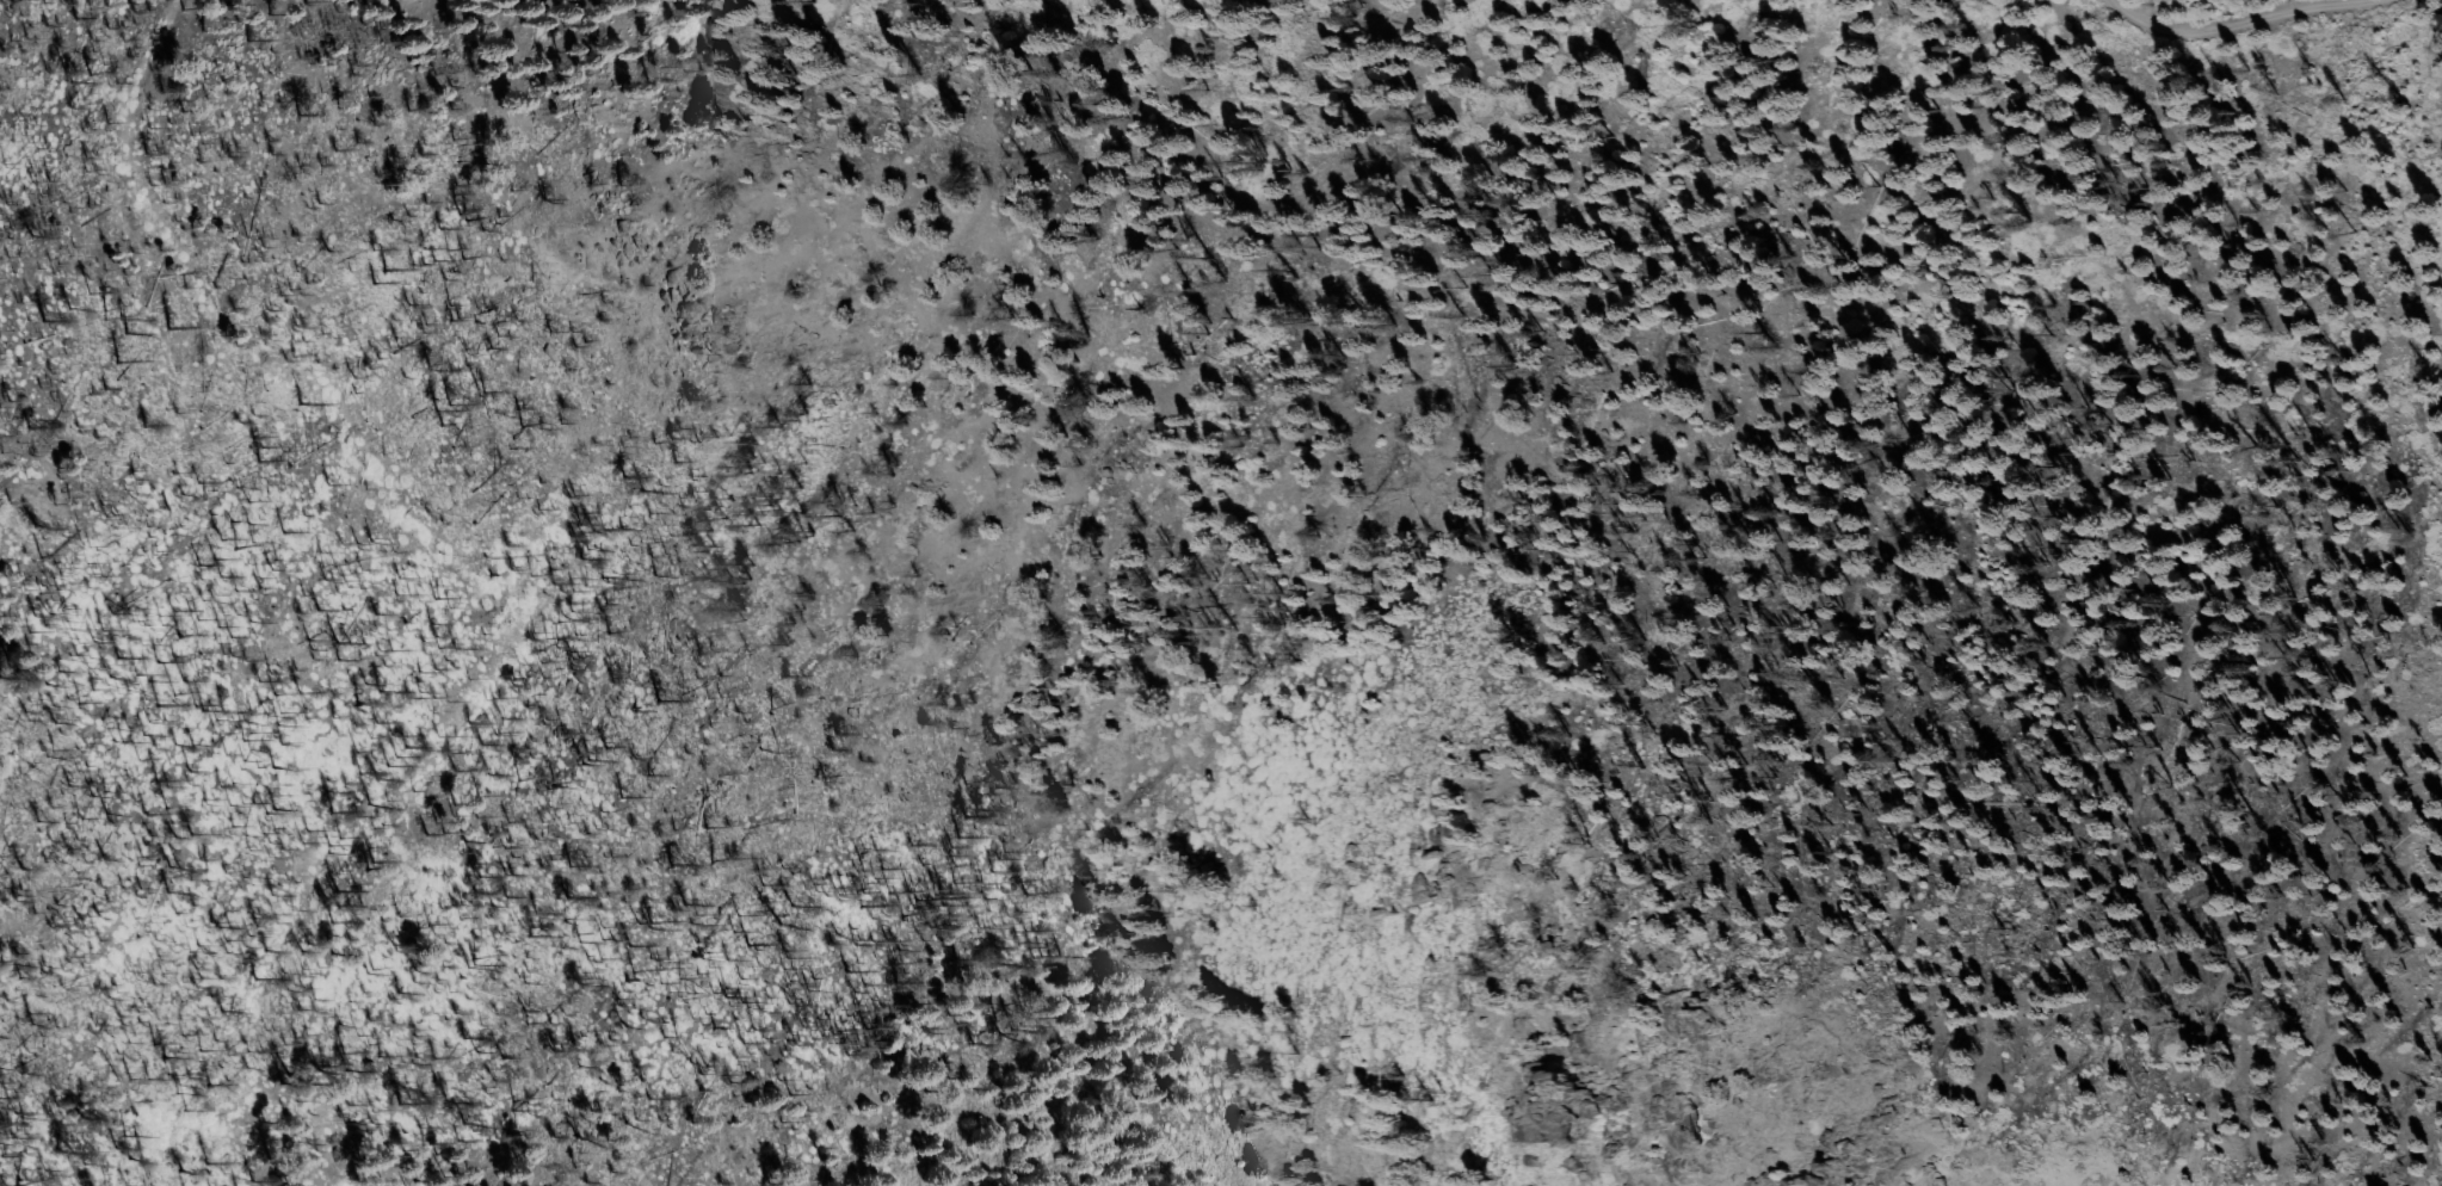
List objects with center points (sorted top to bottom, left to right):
road: (2245, 24)

